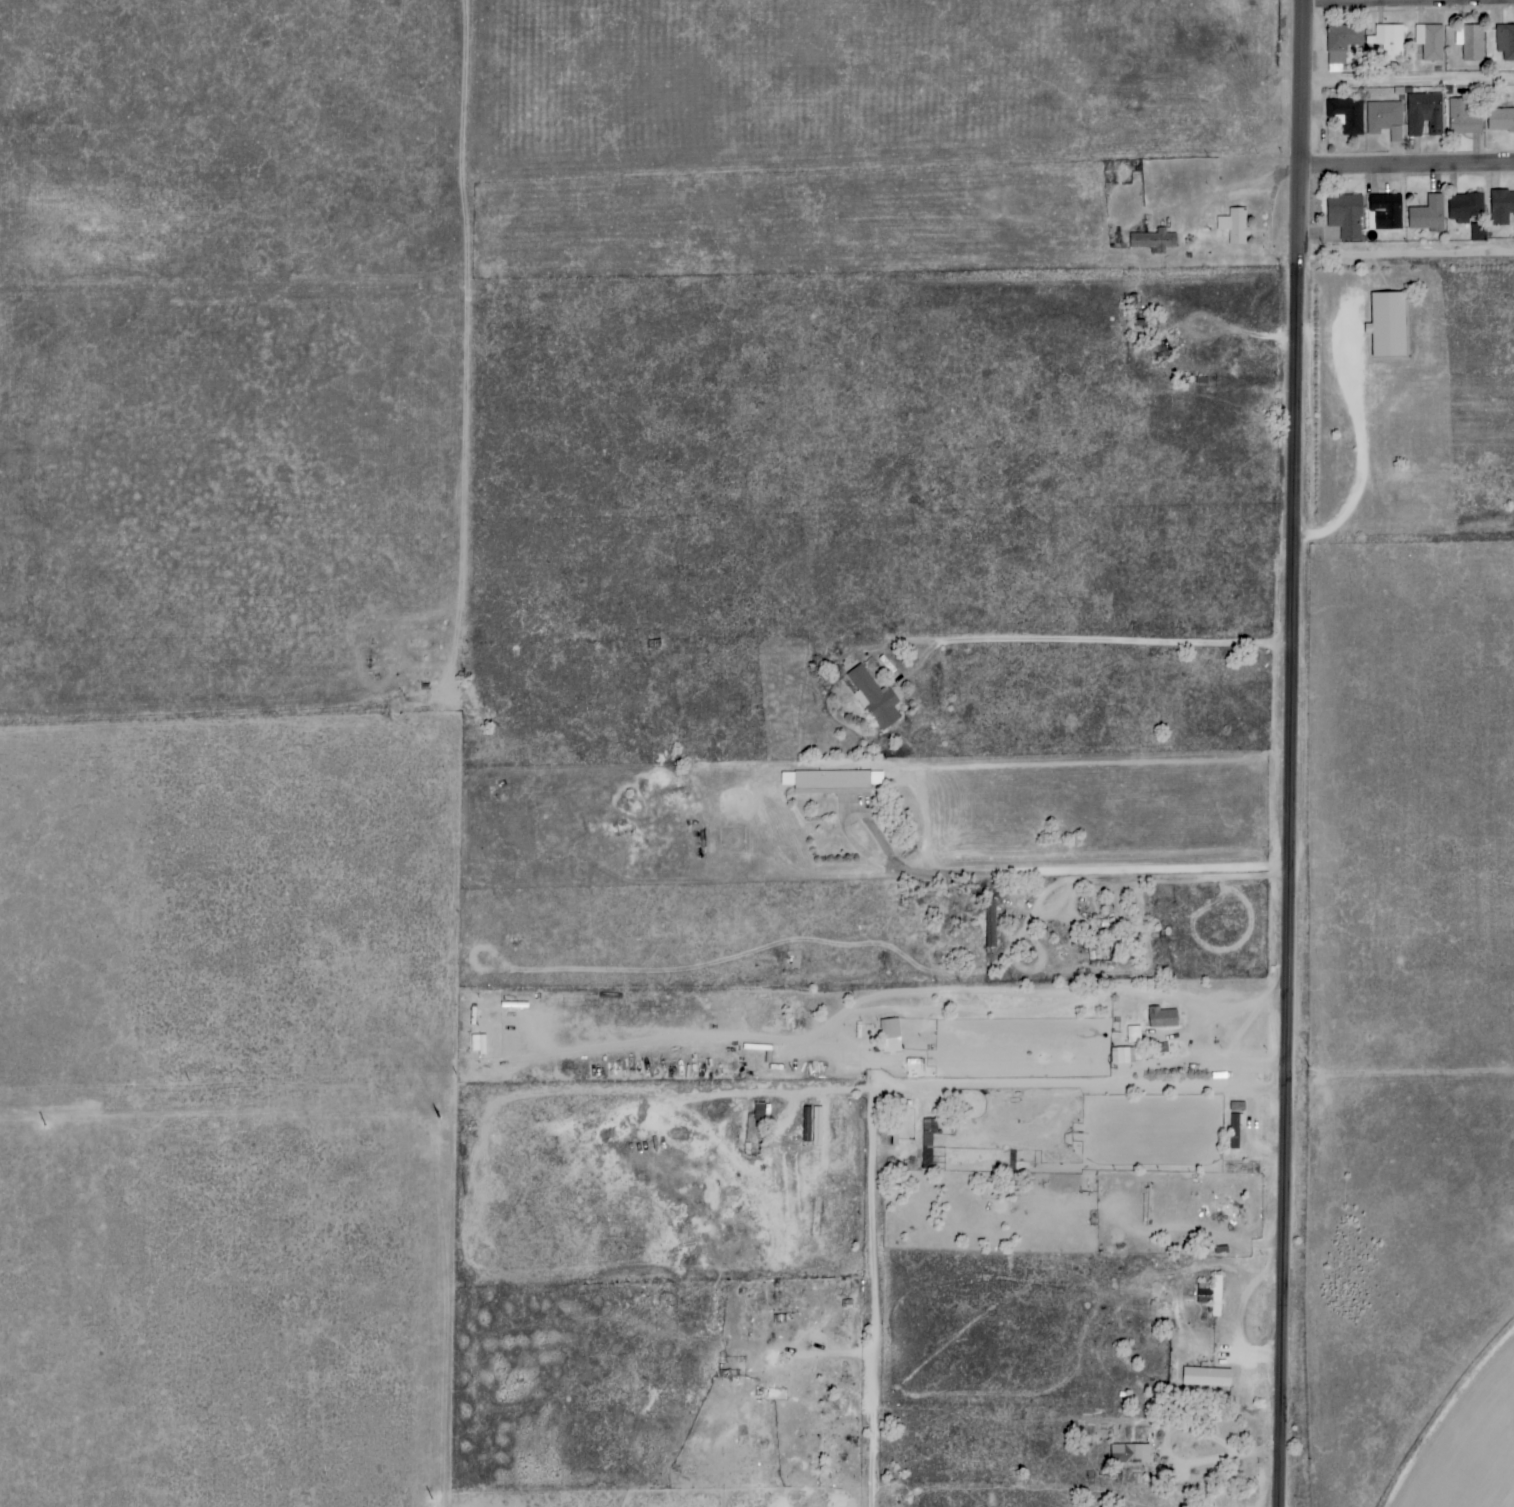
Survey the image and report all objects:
road: (1408, 2)
building: (1388, 42)
building: (1429, 42)
building: (1469, 42)
building: (1504, 42)
building: (1341, 44)
road: (1408, 81)
road: (1302, 85)
building: (1347, 114)
building: (1424, 114)
building: (1462, 117)
building: (1384, 119)
building: (1500, 120)
road: (1407, 168)
road: (1233, 197)
building: (1464, 207)
building: (1501, 207)
building: (1386, 211)
building: (1427, 215)
building: (1345, 216)
building: (1234, 226)
building: (1478, 232)
building: (1153, 241)
road: (1406, 257)
building: (1387, 325)
road: (1367, 453)
road: (1123, 644)
road: (925, 645)
building: (873, 699)
building: (832, 781)
road: (1297, 838)
road: (874, 856)
road: (1101, 870)
road: (1156, 882)
building: (990, 923)
building: (1161, 1018)
building: (1133, 1034)
building: (889, 1035)
building: (1120, 1055)
road: (1032, 1088)
building: (1237, 1107)
building: (759, 1111)
building: (1236, 1121)
building: (927, 1141)
building: (1210, 1294)
road: (887, 1300)
building: (1206, 1377)
building: (1129, 1454)
road: (1266, 1456)
road: (1208, 1466)

